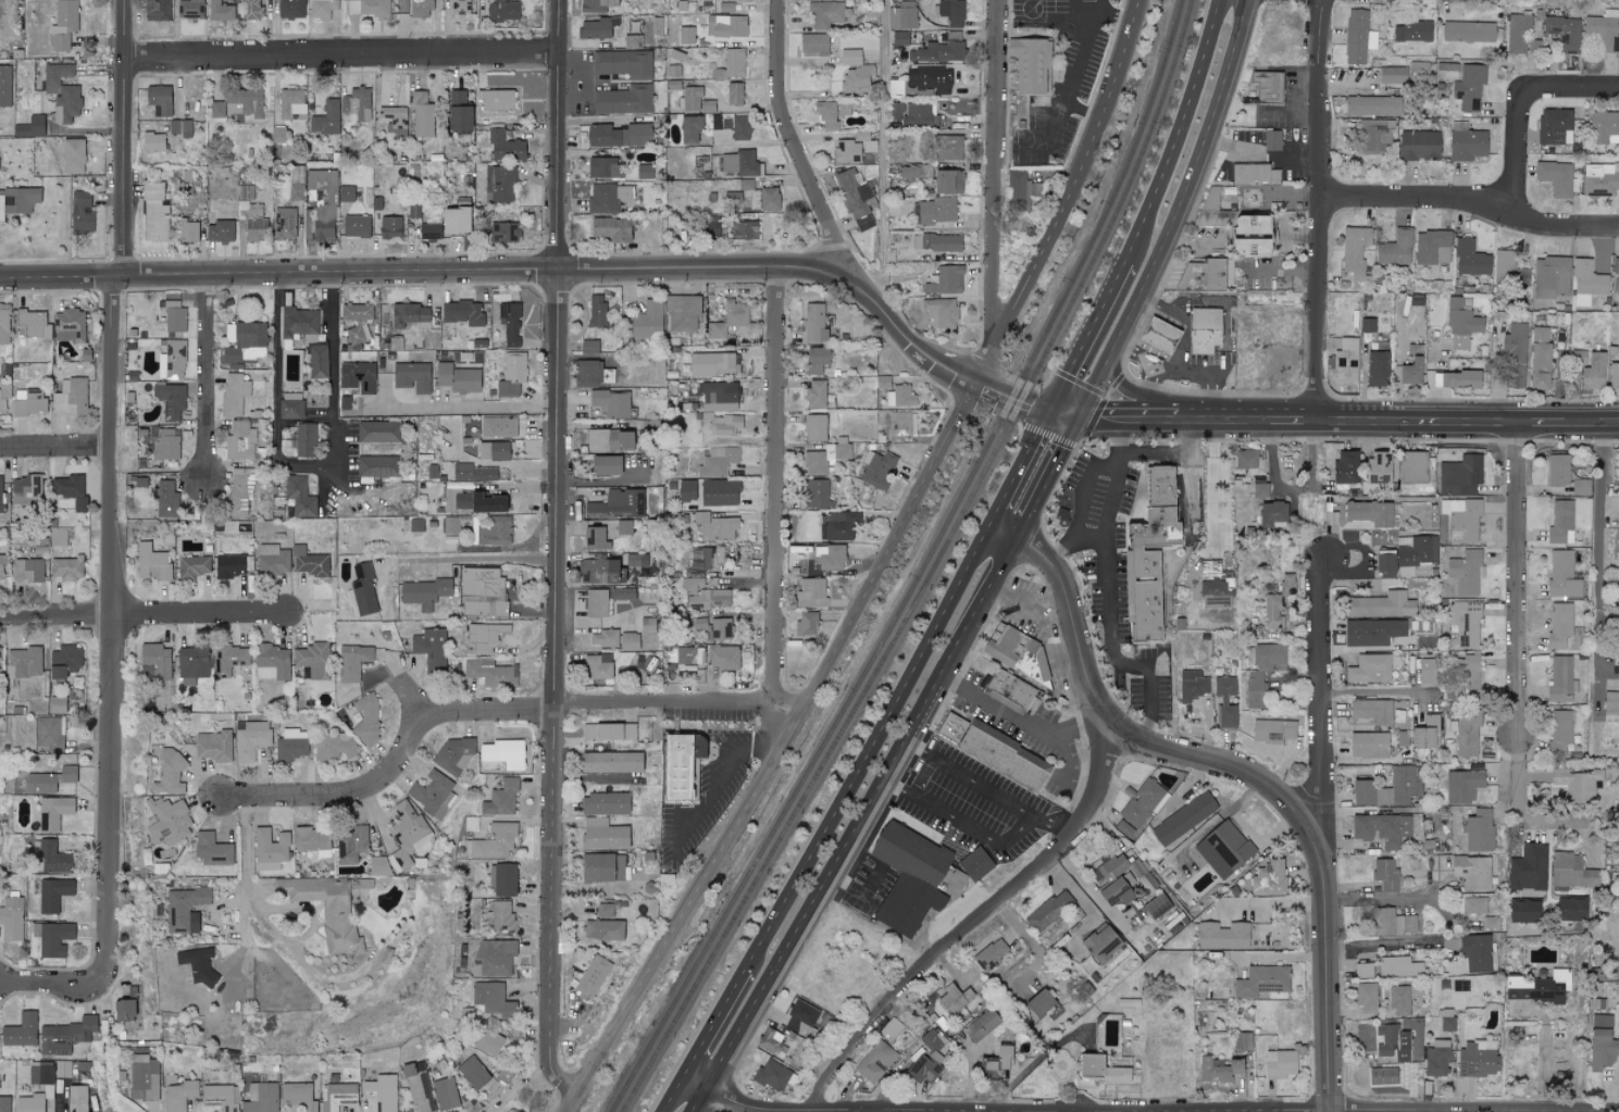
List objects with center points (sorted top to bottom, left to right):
building: (742, 0)
building: (595, 5)
building: (460, 7)
road: (1099, 7)
building: (366, 8)
building: (420, 8)
building: (190, 9)
building: (251, 9)
building: (290, 9)
building: (321, 9)
building: (157, 10)
building: (502, 10)
road: (1073, 10)
building: (220, 11)
building: (951, 12)
building: (824, 13)
building: (902, 15)
road: (1073, 20)
building: (62, 24)
building: (725, 25)
building: (596, 27)
building: (1603, 29)
building: (1411, 30)
building: (1468, 32)
building: (1564, 33)
building: (1518, 34)
building: (685, 35)
building: (1358, 36)
building: (899, 37)
building: (633, 41)
building: (812, 45)
building: (938, 51)
building: (850, 57)
road: (344, 58)
building: (623, 63)
building: (731, 64)
building: (1031, 64)
building: (1446, 70)
building: (1392, 75)
building: (856, 78)
building: (930, 78)
building: (4, 85)
building: (1267, 86)
building: (1469, 86)
building: (61, 91)
road: (1298, 91)
building: (734, 92)
road: (1067, 95)
building: (689, 98)
building: (158, 99)
building: (495, 100)
building: (623, 100)
building: (290, 102)
building: (242, 103)
building: (356, 103)
building: (1372, 105)
building: (844, 108)
building: (216, 110)
building: (458, 111)
road: (1084, 111)
building: (825, 114)
building: (920, 114)
building: (421, 115)
road: (1291, 115)
building: (326, 117)
building: (394, 120)
building: (715, 122)
building: (34, 126)
building: (1554, 126)
building: (179, 127)
building: (739, 127)
building: (1604, 127)
building: (689, 128)
road: (1176, 133)
road: (1520, 134)
building: (618, 135)
road: (561, 136)
building: (1373, 136)
road: (125, 137)
building: (1271, 139)
road: (792, 140)
building: (152, 141)
building: (1467, 145)
building: (1419, 146)
building: (505, 147)
building: (948, 147)
building: (847, 151)
road: (884, 151)
building: (73, 155)
road: (1261, 157)
building: (740, 163)
building: (602, 167)
building: (917, 171)
building: (644, 172)
building: (1254, 174)
building: (1555, 177)
road: (991, 178)
building: (1599, 179)
building: (947, 180)
building: (500, 184)
building: (745, 184)
building: (1016, 185)
railway: (1116, 187)
railway: (1125, 189)
building: (1034, 190)
building: (296, 192)
building: (346, 193)
building: (732, 196)
building: (607, 197)
building: (769, 198)
building: (17, 199)
building: (856, 201)
building: (322, 202)
road: (1470, 208)
building: (412, 209)
building: (936, 210)
road: (1321, 210)
building: (154, 211)
building: (80, 212)
building: (251, 212)
road: (1175, 214)
building: (284, 220)
building: (1248, 225)
building: (354, 226)
building: (389, 226)
building: (611, 228)
building: (744, 229)
building: (188, 230)
building: (428, 230)
building: (220, 232)
building: (503, 232)
building: (937, 242)
road: (1193, 243)
building: (1248, 246)
building: (1432, 247)
building: (1395, 248)
building: (1354, 252)
building: (1470, 259)
building: (1508, 270)
road: (705, 272)
road: (341, 273)
road: (1282, 273)
road: (61, 275)
building: (1201, 275)
building: (1550, 277)
building: (1617, 279)
building: (945, 280)
building: (1586, 283)
building: (596, 310)
building: (356, 311)
building: (461, 312)
building: (683, 312)
building: (408, 313)
building: (939, 313)
building: (173, 315)
building: (727, 318)
building: (646, 321)
building: (298, 322)
building: (814, 322)
building: (509, 323)
building: (32, 324)
building: (1460, 325)
building: (69, 326)
building: (3, 327)
building: (1204, 329)
building: (357, 334)
building: (1158, 335)
road: (1086, 337)
building: (241, 339)
building: (588, 347)
road: (916, 355)
building: (1515, 355)
building: (316, 357)
building: (1540, 358)
road: (1182, 359)
building: (172, 360)
building: (815, 360)
building: (1346, 360)
building: (713, 363)
building: (1377, 368)
building: (1593, 371)
building: (1411, 372)
building: (511, 374)
building: (1614, 375)
building: (357, 376)
building: (412, 376)
building: (457, 377)
road: (206, 378)
building: (1456, 379)
building: (718, 391)
building: (233, 393)
building: (814, 393)
building: (71, 397)
building: (900, 397)
building: (170, 400)
building: (29, 402)
building: (344, 402)
building: (610, 403)
building: (290, 405)
road: (461, 405)
building: (2, 407)
road: (1044, 410)
road: (1197, 420)
road: (1041, 422)
building: (902, 423)
road: (1467, 423)
building: (723, 424)
building: (498, 426)
building: (814, 427)
building: (530, 428)
building: (379, 432)
building: (304, 439)
building: (609, 440)
building: (240, 441)
building: (163, 443)
road: (54, 446)
building: (493, 450)
building: (838, 451)
road: (1166, 452)
building: (717, 461)
building: (1249, 462)
road: (303, 463)
building: (814, 463)
road: (487, 464)
building: (378, 465)
building: (605, 465)
building: (1345, 466)
building: (1378, 467)
building: (1412, 467)
building: (877, 468)
road: (1054, 470)
building: (1557, 470)
building: (474, 472)
building: (1459, 475)
road: (333, 478)
road: (1012, 479)
road: (603, 483)
road: (1211, 485)
building: (1580, 486)
building: (25, 489)
building: (70, 490)
building: (239, 490)
building: (686, 490)
building: (1259, 490)
building: (718, 492)
building: (817, 493)
building: (0, 497)
building: (299, 497)
building: (165, 499)
building: (456, 500)
building: (485, 502)
building: (617, 504)
road: (1082, 505)
road: (777, 511)
building: (1369, 512)
building: (1271, 513)
building: (1330, 518)
building: (1461, 520)
building: (1560, 521)
building: (416, 525)
building: (838, 526)
building: (623, 527)
building: (715, 527)
building: (490, 530)
building: (595, 537)
road: (1088, 538)
building: (1417, 550)
building: (1147, 554)
road: (1596, 557)
building: (701, 558)
building: (832, 558)
road: (466, 559)
building: (272, 560)
building: (635, 560)
building: (152, 562)
building: (308, 562)
building: (1384, 563)
building: (192, 565)
building: (228, 565)
building: (2, 566)
road: (876, 566)
building: (66, 567)
building: (27, 570)
building: (596, 571)
building: (1413, 571)
building: (1465, 572)
building: (1562, 575)
road: (1518, 577)
building: (1286, 584)
building: (1213, 586)
building: (364, 591)
building: (423, 592)
building: (482, 592)
building: (811, 592)
building: (623, 594)
building: (706, 595)
road: (1107, 595)
building: (596, 602)
road: (1029, 604)
building: (1381, 605)
building: (1273, 610)
road: (112, 613)
road: (200, 620)
road: (57, 621)
building: (1464, 623)
building: (806, 624)
building: (647, 625)
building: (1559, 625)
building: (712, 627)
building: (1372, 632)
building: (484, 636)
building: (602, 638)
building: (628, 641)
building: (429, 647)
building: (1013, 649)
building: (1617, 650)
building: (684, 657)
building: (723, 658)
building: (157, 659)
building: (229, 659)
road: (1063, 659)
building: (313, 660)
building: (63, 661)
building: (24, 662)
building: (191, 662)
building: (272, 662)
building: (351, 662)
building: (598, 667)
building: (1369, 669)
building: (148, 671)
building: (1260, 671)
building: (1428, 672)
building: (490, 673)
building: (1467, 675)
building: (1559, 679)
building: (1192, 685)
building: (1009, 688)
road: (552, 691)
road: (1375, 692)
building: (1224, 701)
building: (1611, 703)
building: (57, 704)
road: (490, 709)
building: (1371, 711)
building: (366, 719)
building: (1431, 722)
road: (1023, 724)
building: (1272, 728)
road: (1073, 729)
building: (1559, 730)
building: (608, 732)
building: (1466, 732)
building: (49, 733)
building: (1420, 737)
road: (1323, 738)
building: (250, 739)
railway: (824, 741)
railway: (833, 742)
building: (291, 745)
building: (1368, 745)
building: (212, 746)
building: (333, 746)
building: (993, 749)
road: (864, 751)
building: (453, 752)
building: (503, 753)
building: (610, 762)
building: (680, 765)
road: (1237, 770)
building: (170, 772)
road: (971, 778)
building: (49, 780)
road: (718, 780)
building: (1577, 785)
building: (1461, 786)
building: (1387, 788)
building: (432, 794)
building: (501, 800)
building: (1142, 802)
building: (603, 803)
road: (1517, 803)
building: (53, 812)
road: (861, 816)
building: (1183, 819)
building: (169, 821)
road: (962, 825)
road: (1054, 825)
building: (1124, 828)
building: (1381, 828)
building: (1478, 830)
building: (407, 833)
road: (1245, 834)
building: (602, 835)
building: (311, 838)
building: (495, 841)
building: (351, 845)
building: (270, 849)
building: (1223, 849)
building: (211, 850)
building: (52, 857)
building: (975, 864)
building: (378, 865)
building: (602, 867)
building: (1109, 867)
road: (245, 872)
building: (1471, 872)
building: (1571, 872)
building: (1385, 875)
building: (908, 877)
building: (1269, 878)
building: (502, 879)
building: (951, 882)
building: (1113, 890)
building: (53, 894)
road: (1374, 900)
building: (1156, 905)
building: (1473, 905)
road: (1278, 907)
building: (184, 909)
building: (325, 909)
building: (1571, 909)
building: (603, 910)
building: (1049, 910)
building: (501, 917)
building: (12, 919)
building: (1599, 919)
road: (1011, 920)
road: (976, 921)
building: (1392, 923)
building: (602, 929)
road: (1615, 930)
building: (1222, 936)
building: (52, 938)
building: (1101, 944)
road: (1391, 946)
building: (1475, 952)
building: (991, 954)
building: (495, 957)
road: (1036, 961)
building: (197, 964)
building: (1399, 966)
building: (1365, 970)
building: (591, 976)
road: (61, 977)
building: (1259, 982)
building: (1537, 987)
building: (1367, 997)
building: (493, 999)
building: (954, 999)
building: (1398, 1000)
building: (1038, 1003)
building: (124, 1008)
building: (801, 1017)
building: (1601, 1021)
building: (981, 1025)
road: (710, 1028)
building: (21, 1033)
building: (65, 1036)
building: (1386, 1038)
building: (770, 1039)
building: (486, 1040)
building: (931, 1040)
building: (1242, 1041)
building: (1602, 1049)
road: (1544, 1053)
building: (1402, 1055)
building: (1477, 1058)
building: (1435, 1059)
building: (875, 1062)
building: (995, 1062)
building: (1280, 1063)
building: (1089, 1065)
building: (1218, 1069)
building: (922, 1070)
building: (472, 1072)
building: (40, 1075)
building: (772, 1075)
building: (1116, 1075)
building: (142, 1077)
building: (418, 1089)
building: (177, 1092)
building: (381, 1092)
building: (445, 1094)
building: (298, 1096)
building: (338, 1096)
road: (672, 1096)
building: (221, 1097)
building: (77, 1098)
building: (261, 1098)
building: (4, 1103)
building: (30, 1103)
road: (865, 1111)
road: (875, 1111)

